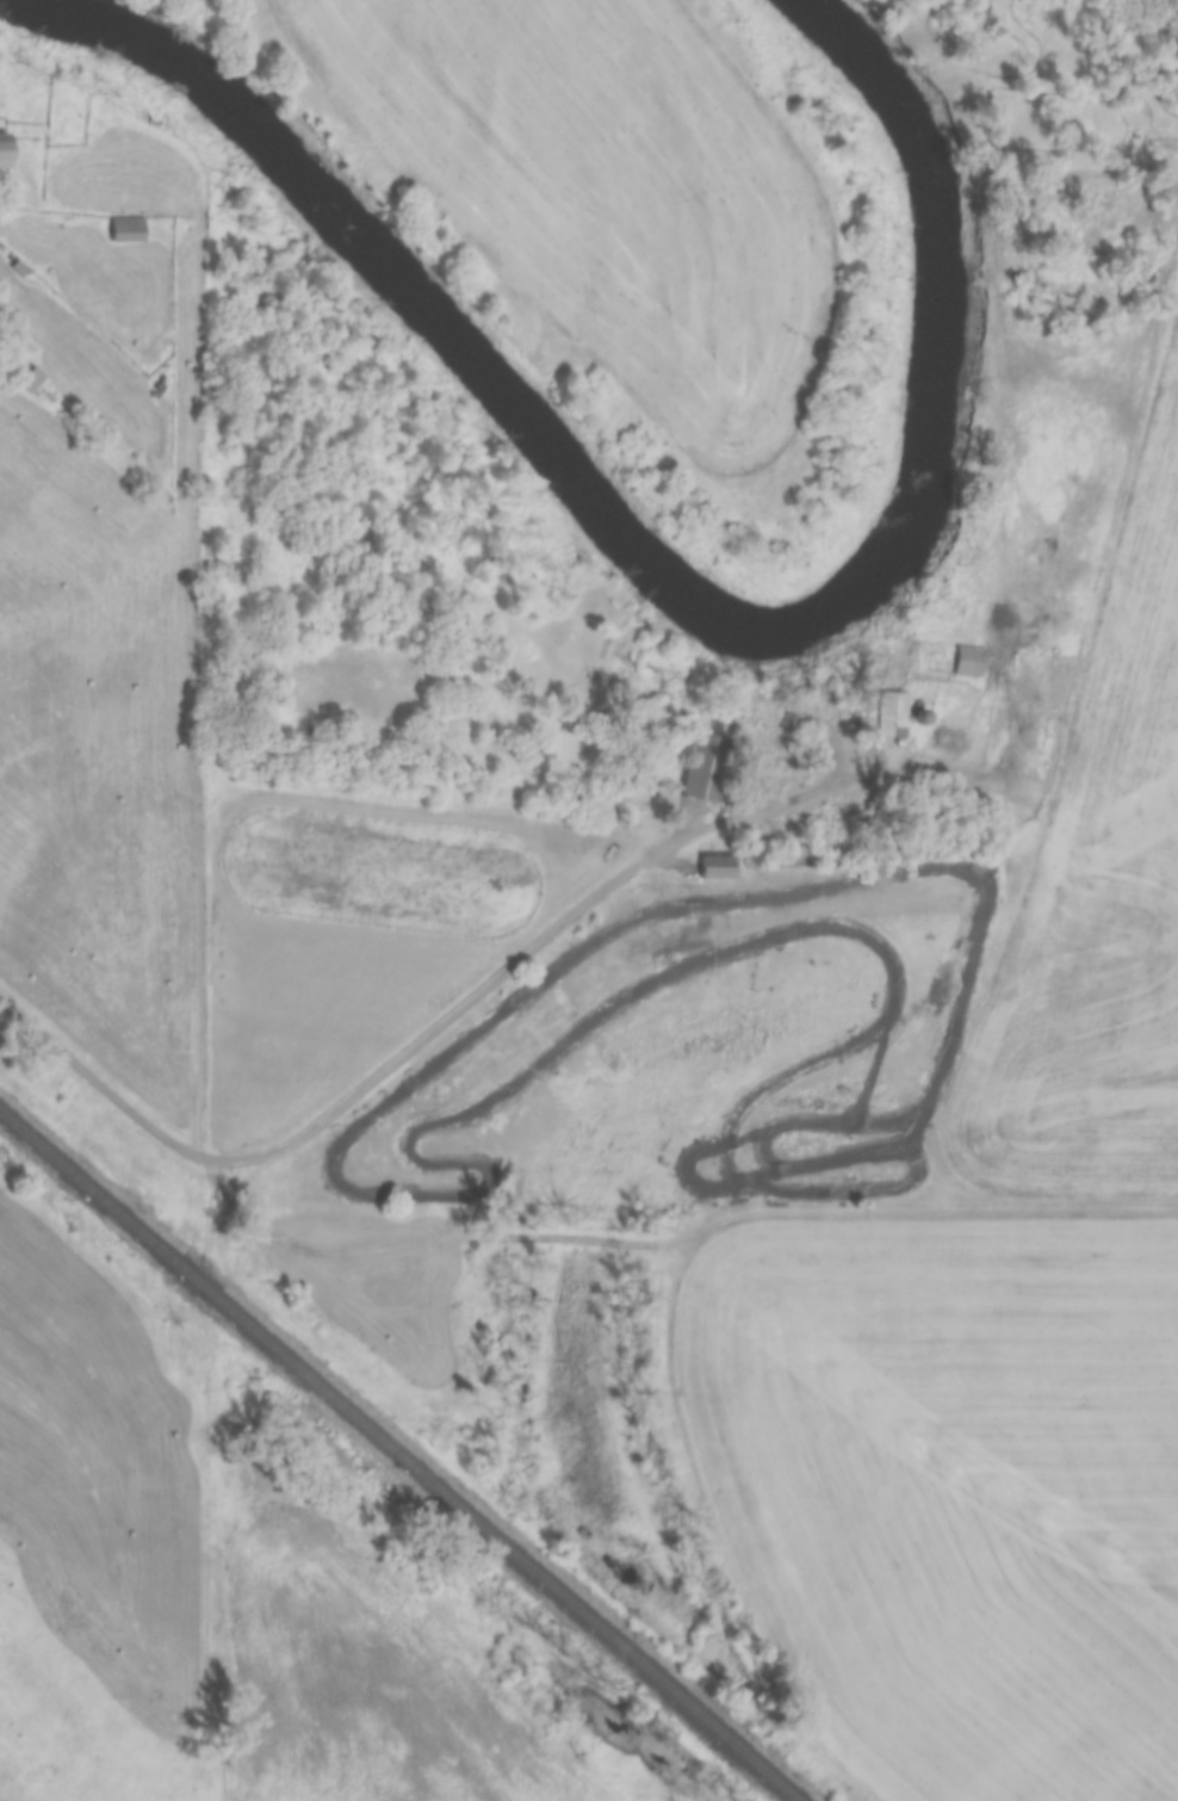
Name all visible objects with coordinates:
building: (10, 150)
building: (131, 230)
building: (33, 379)
river: (669, 578)
building: (969, 662)
building: (874, 700)
building: (894, 716)
building: (720, 769)
building: (724, 868)
raceway: (857, 1008)
road: (383, 1066)
road: (666, 1233)
railway: (398, 1455)

